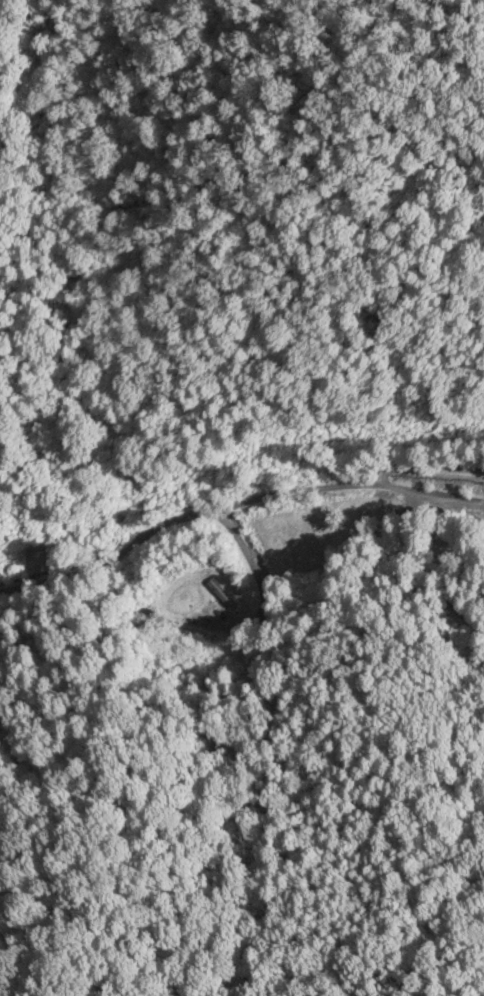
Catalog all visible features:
road: (229, 469)

